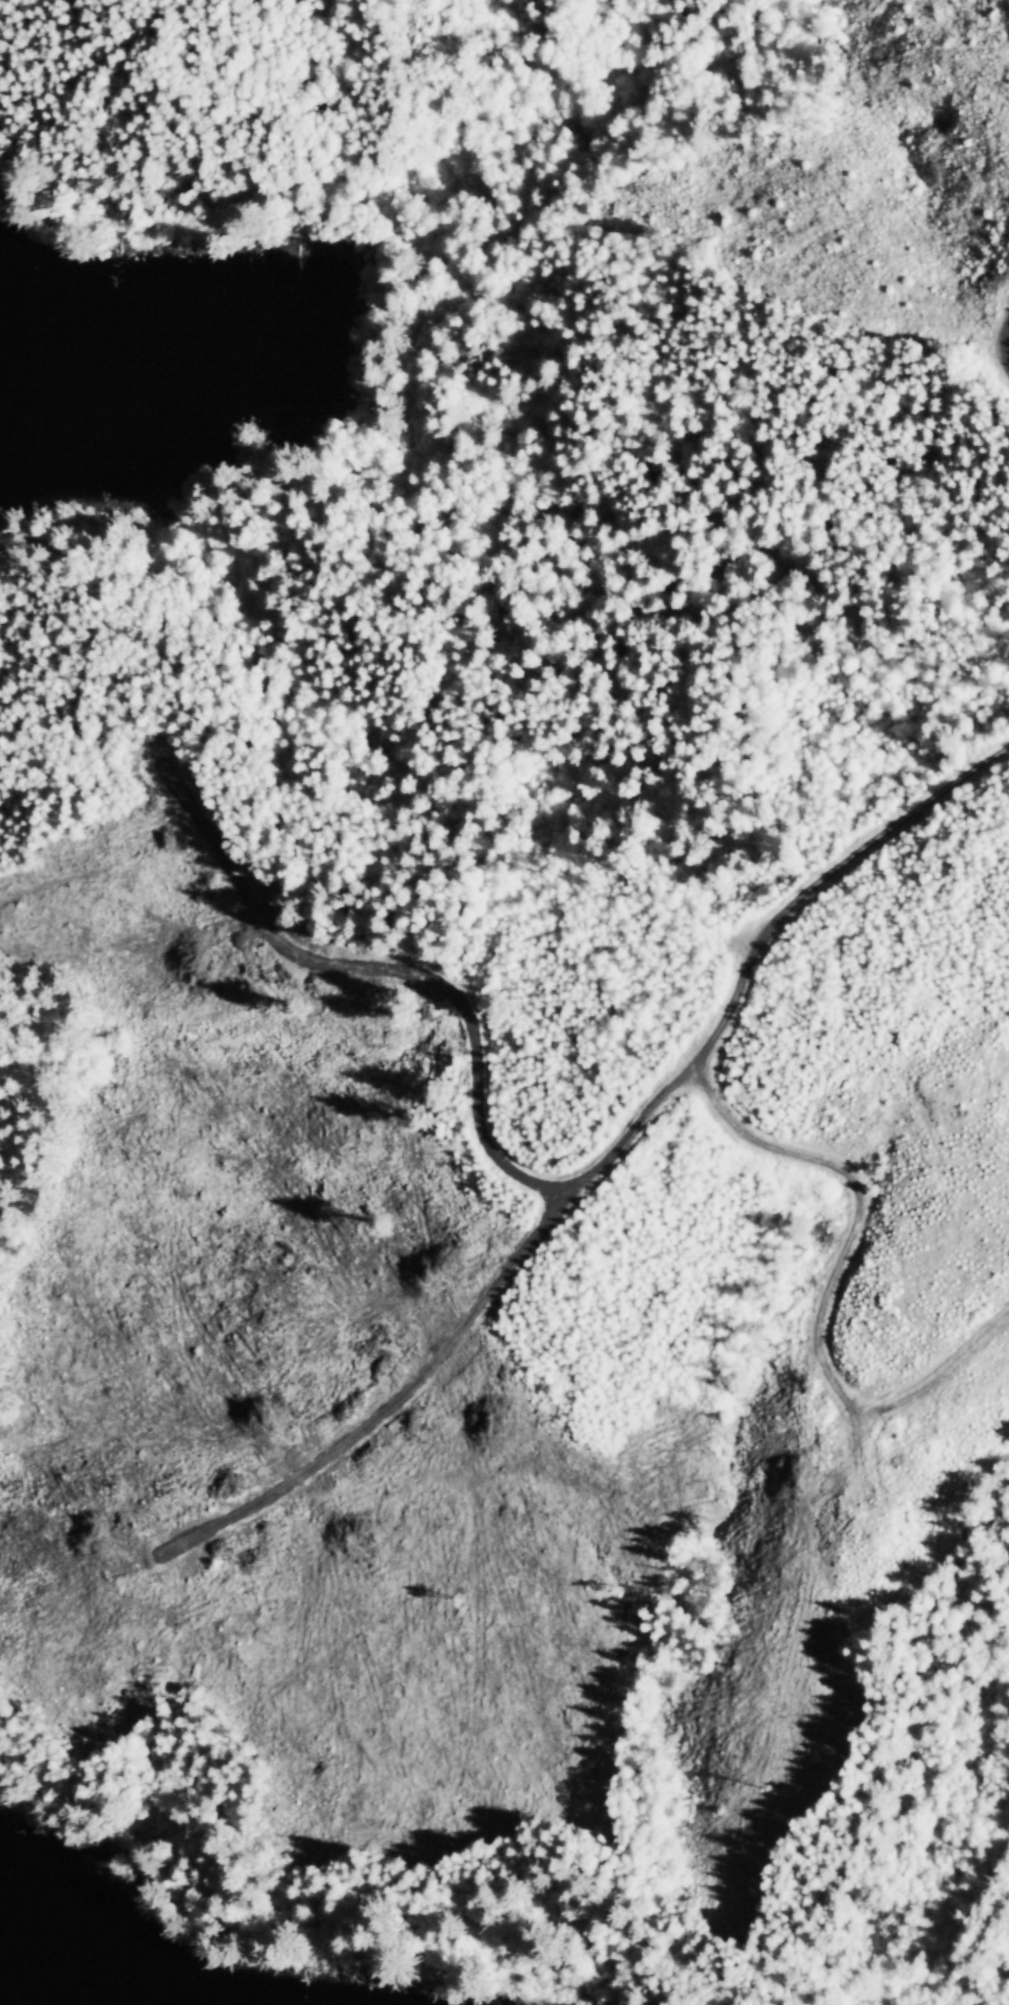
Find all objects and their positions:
road: (635, 1143)

